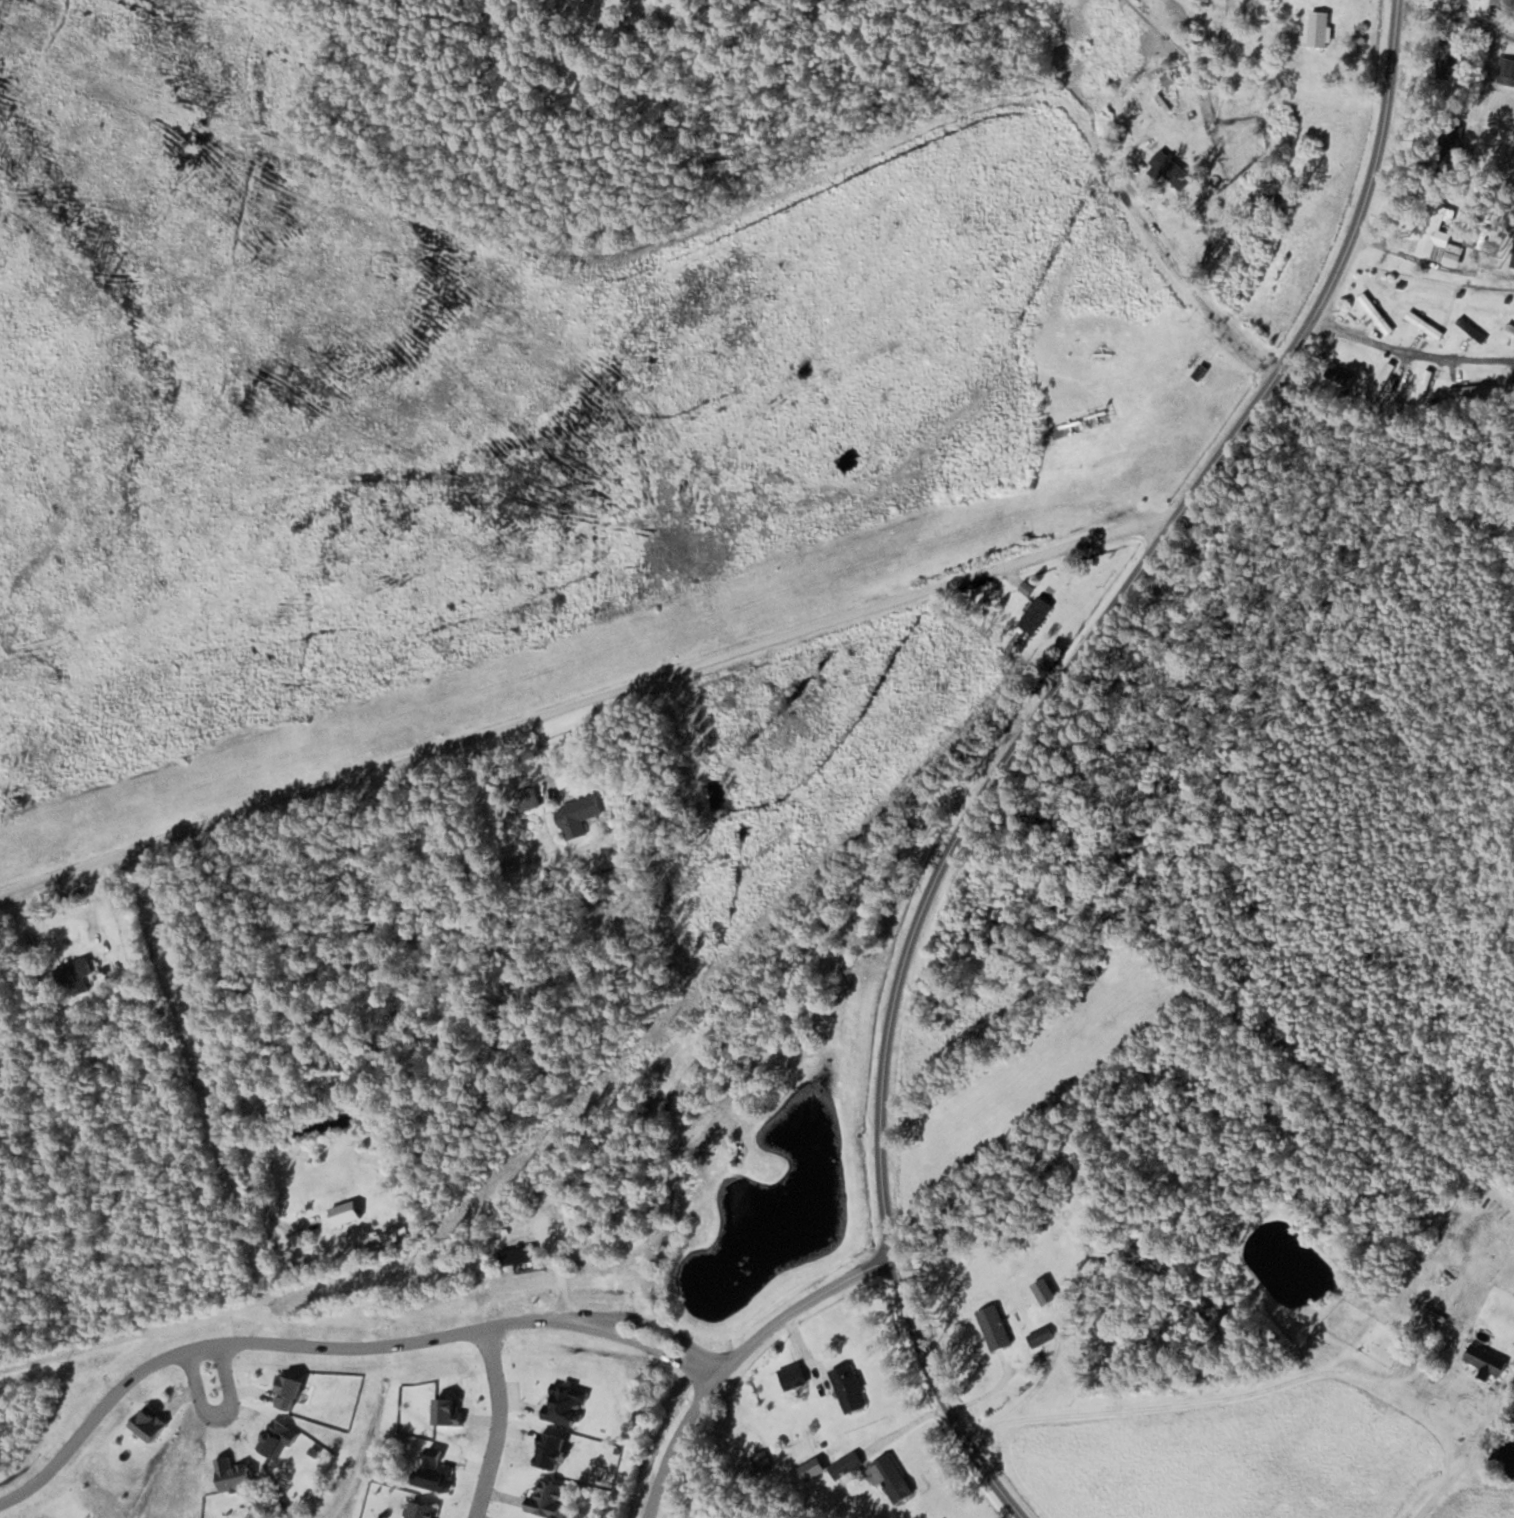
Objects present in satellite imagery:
building: (1318, 28)
building: (1506, 71)
building: (1171, 171)
road: (828, 176)
building: (1436, 238)
building: (1375, 313)
building: (1424, 324)
building: (1510, 326)
building: (1471, 330)
building: (1338, 375)
building: (1381, 380)
building: (1423, 386)
building: (1512, 389)
building: (1471, 390)
building: (1096, 417)
building: (1038, 609)
road: (1106, 620)
airport runway: (582, 660)
road: (593, 702)
building: (575, 816)
building: (73, 975)
building: (344, 1212)
building: (517, 1255)
building: (1043, 1290)
building: (993, 1326)
building: (1040, 1336)
road: (332, 1349)
road: (730, 1356)
building: (1485, 1361)
building: (791, 1376)
building: (848, 1388)
building: (285, 1392)
road: (942, 1395)
building: (445, 1412)
road: (217, 1416)
building: (147, 1423)
road: (497, 1423)
building: (761, 1461)
building: (845, 1465)
building: (432, 1470)
building: (232, 1474)
building: (889, 1477)
building: (546, 1498)
building: (419, 1510)

